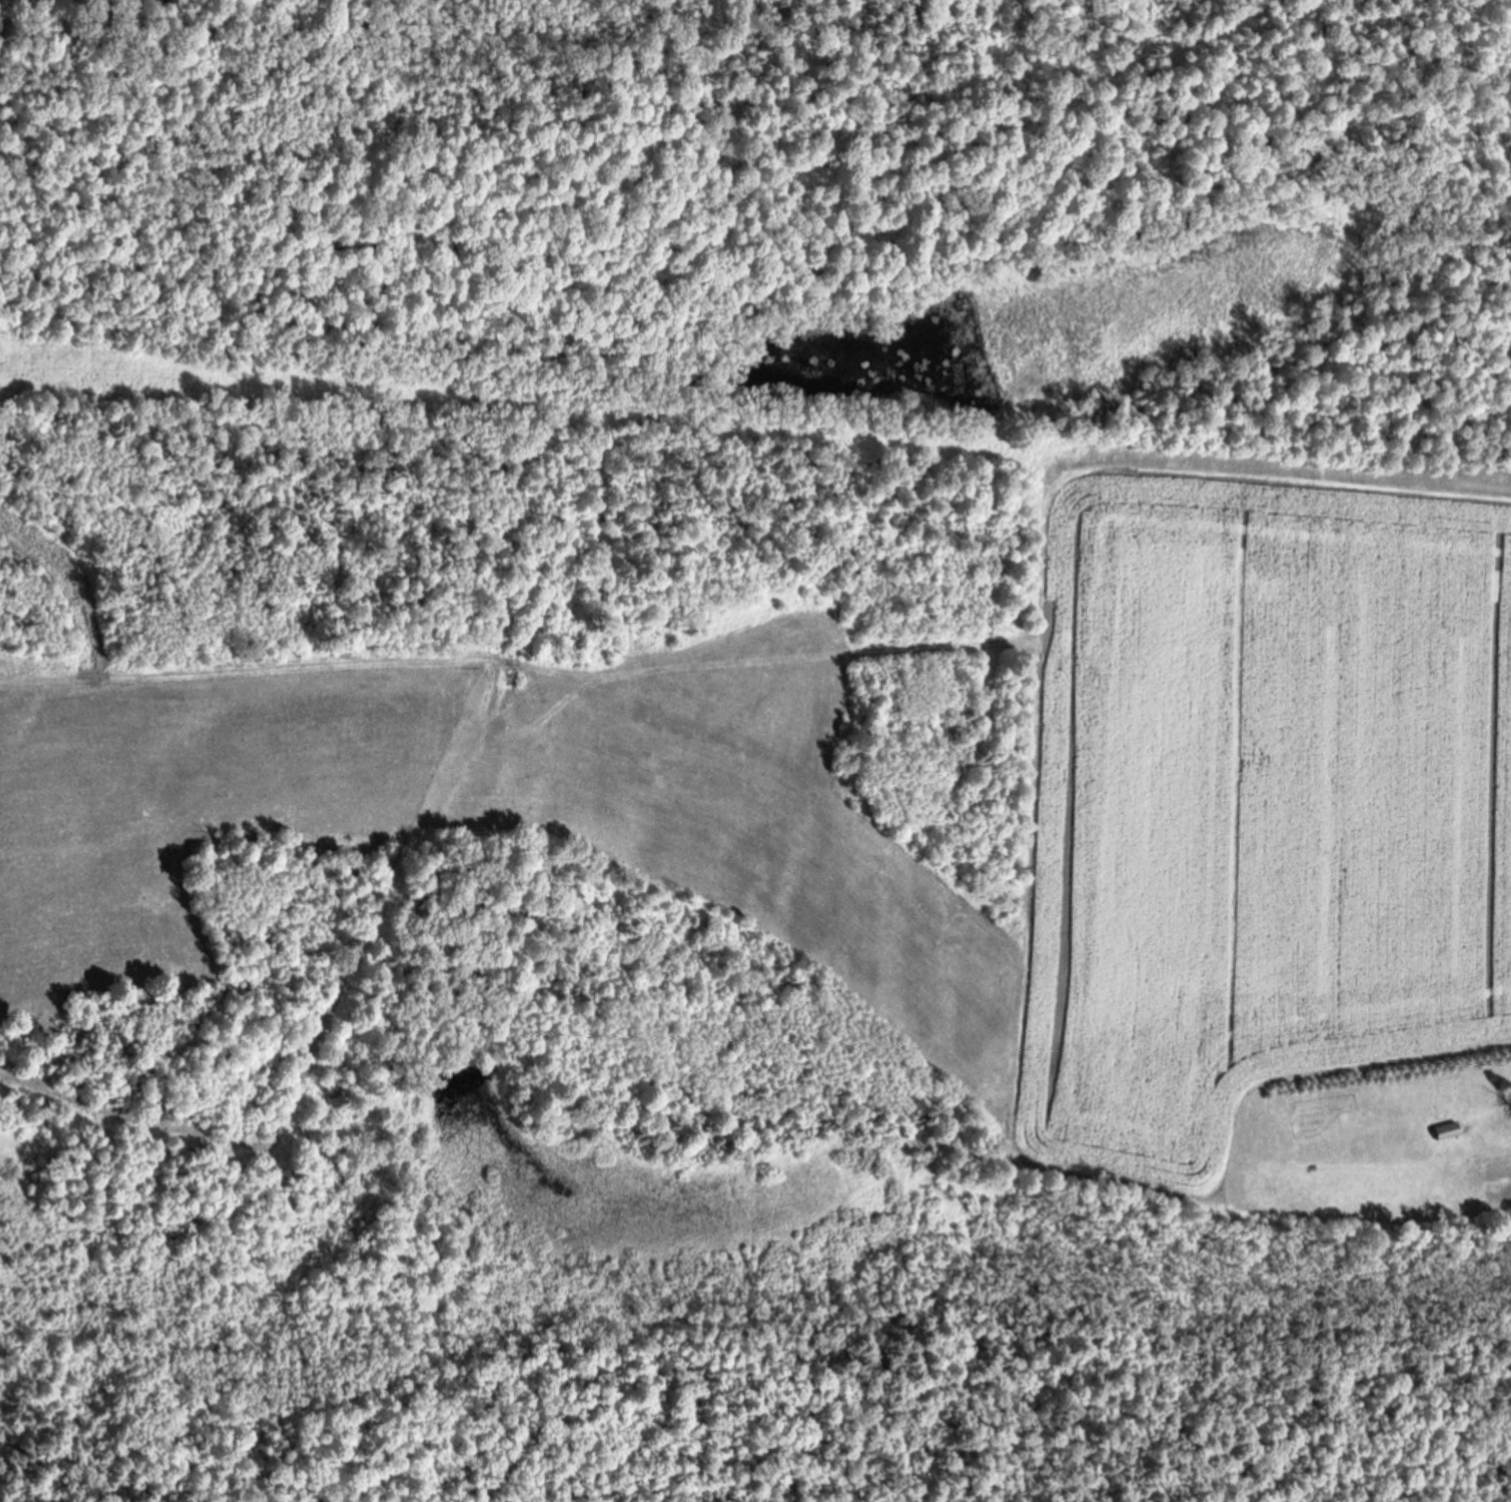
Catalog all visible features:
building: (1446, 1134)

